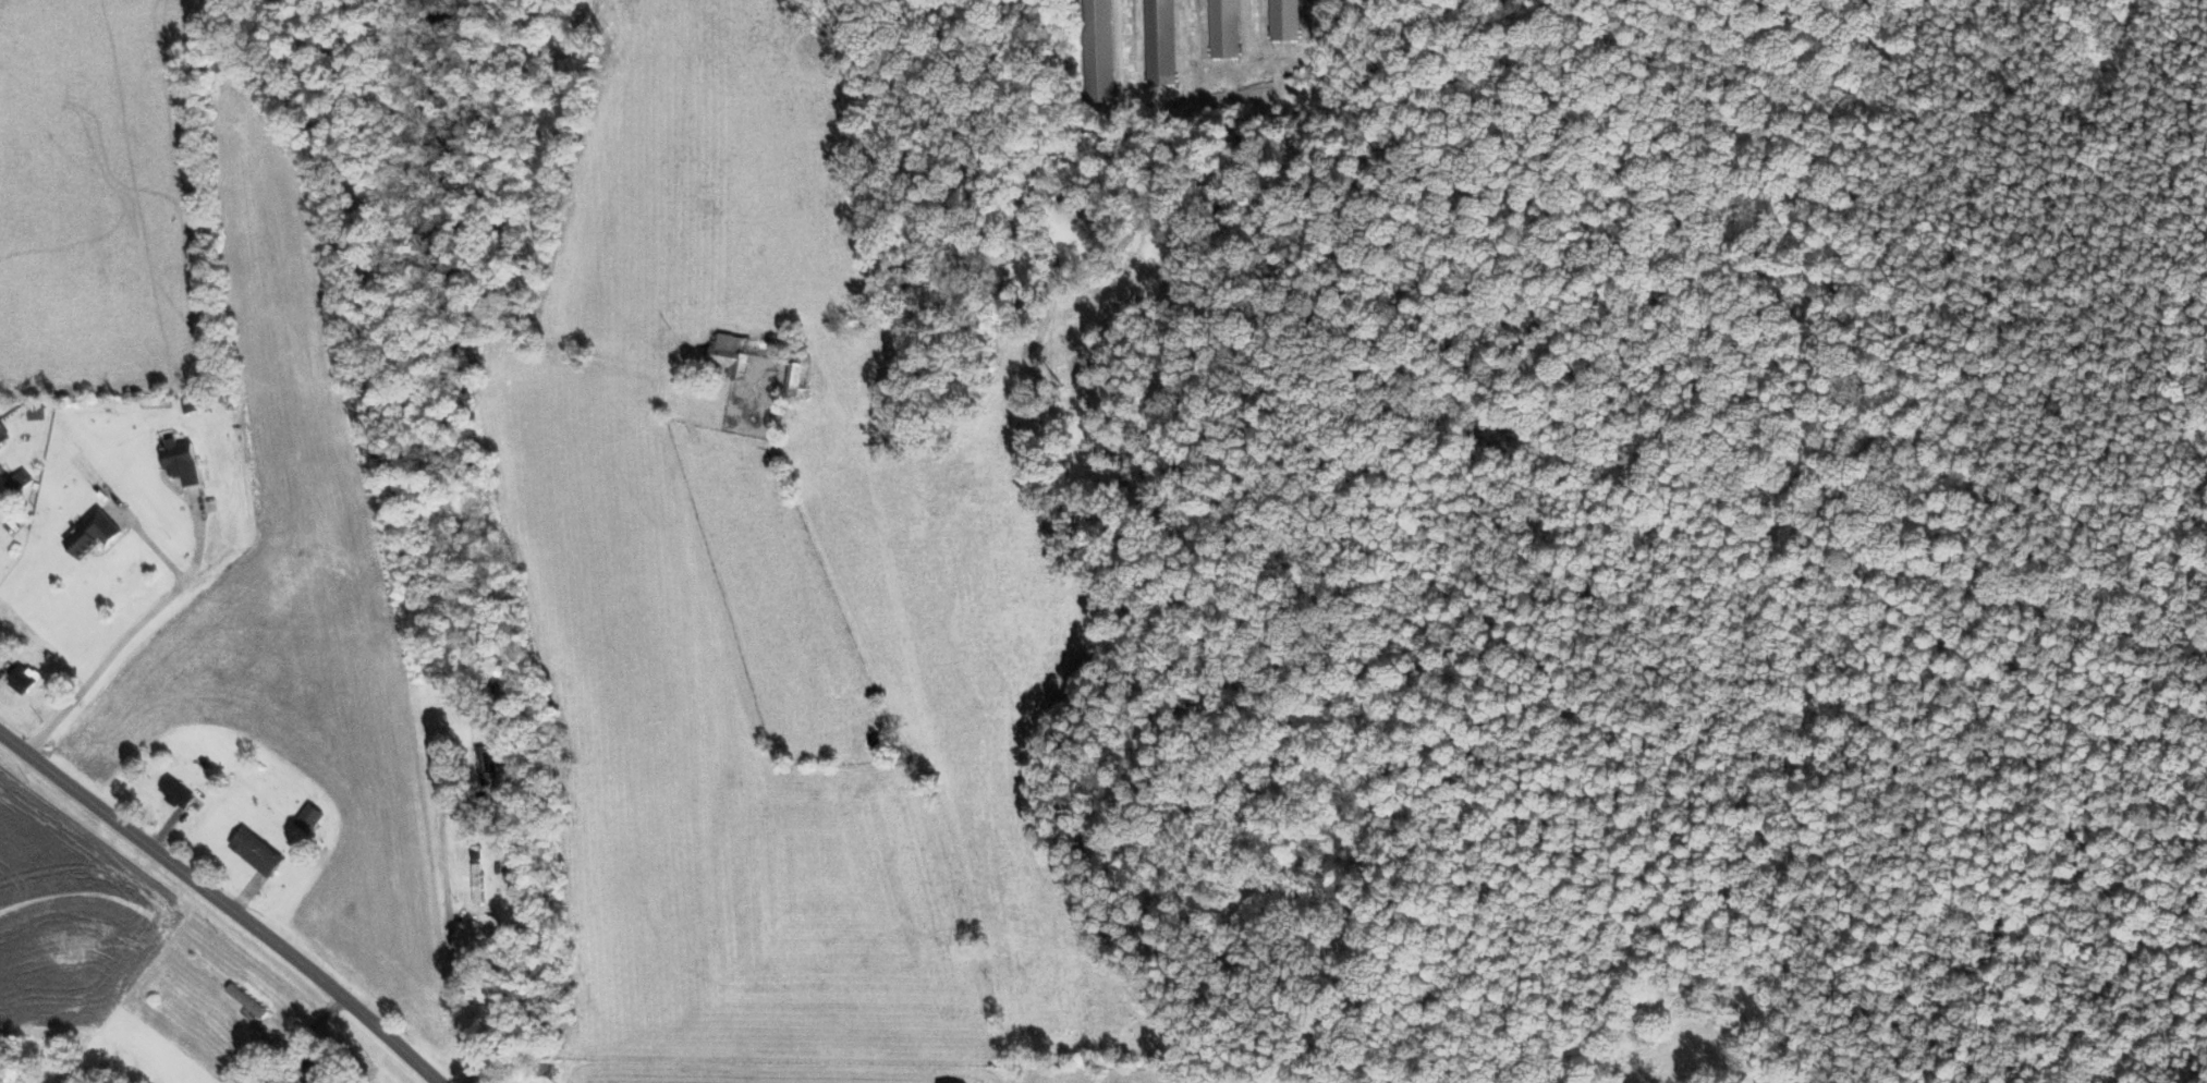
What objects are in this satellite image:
building: (1282, 20)
building: (1221, 28)
building: (1157, 41)
building: (1096, 51)
building: (729, 354)
building: (796, 375)
building: (35, 412)
building: (3, 433)
building: (179, 460)
building: (14, 483)
building: (90, 533)
road: (151, 545)
road: (131, 634)
building: (22, 678)
building: (487, 765)
building: (174, 792)
building: (308, 817)
building: (255, 851)
road: (221, 903)
road: (448, 932)

